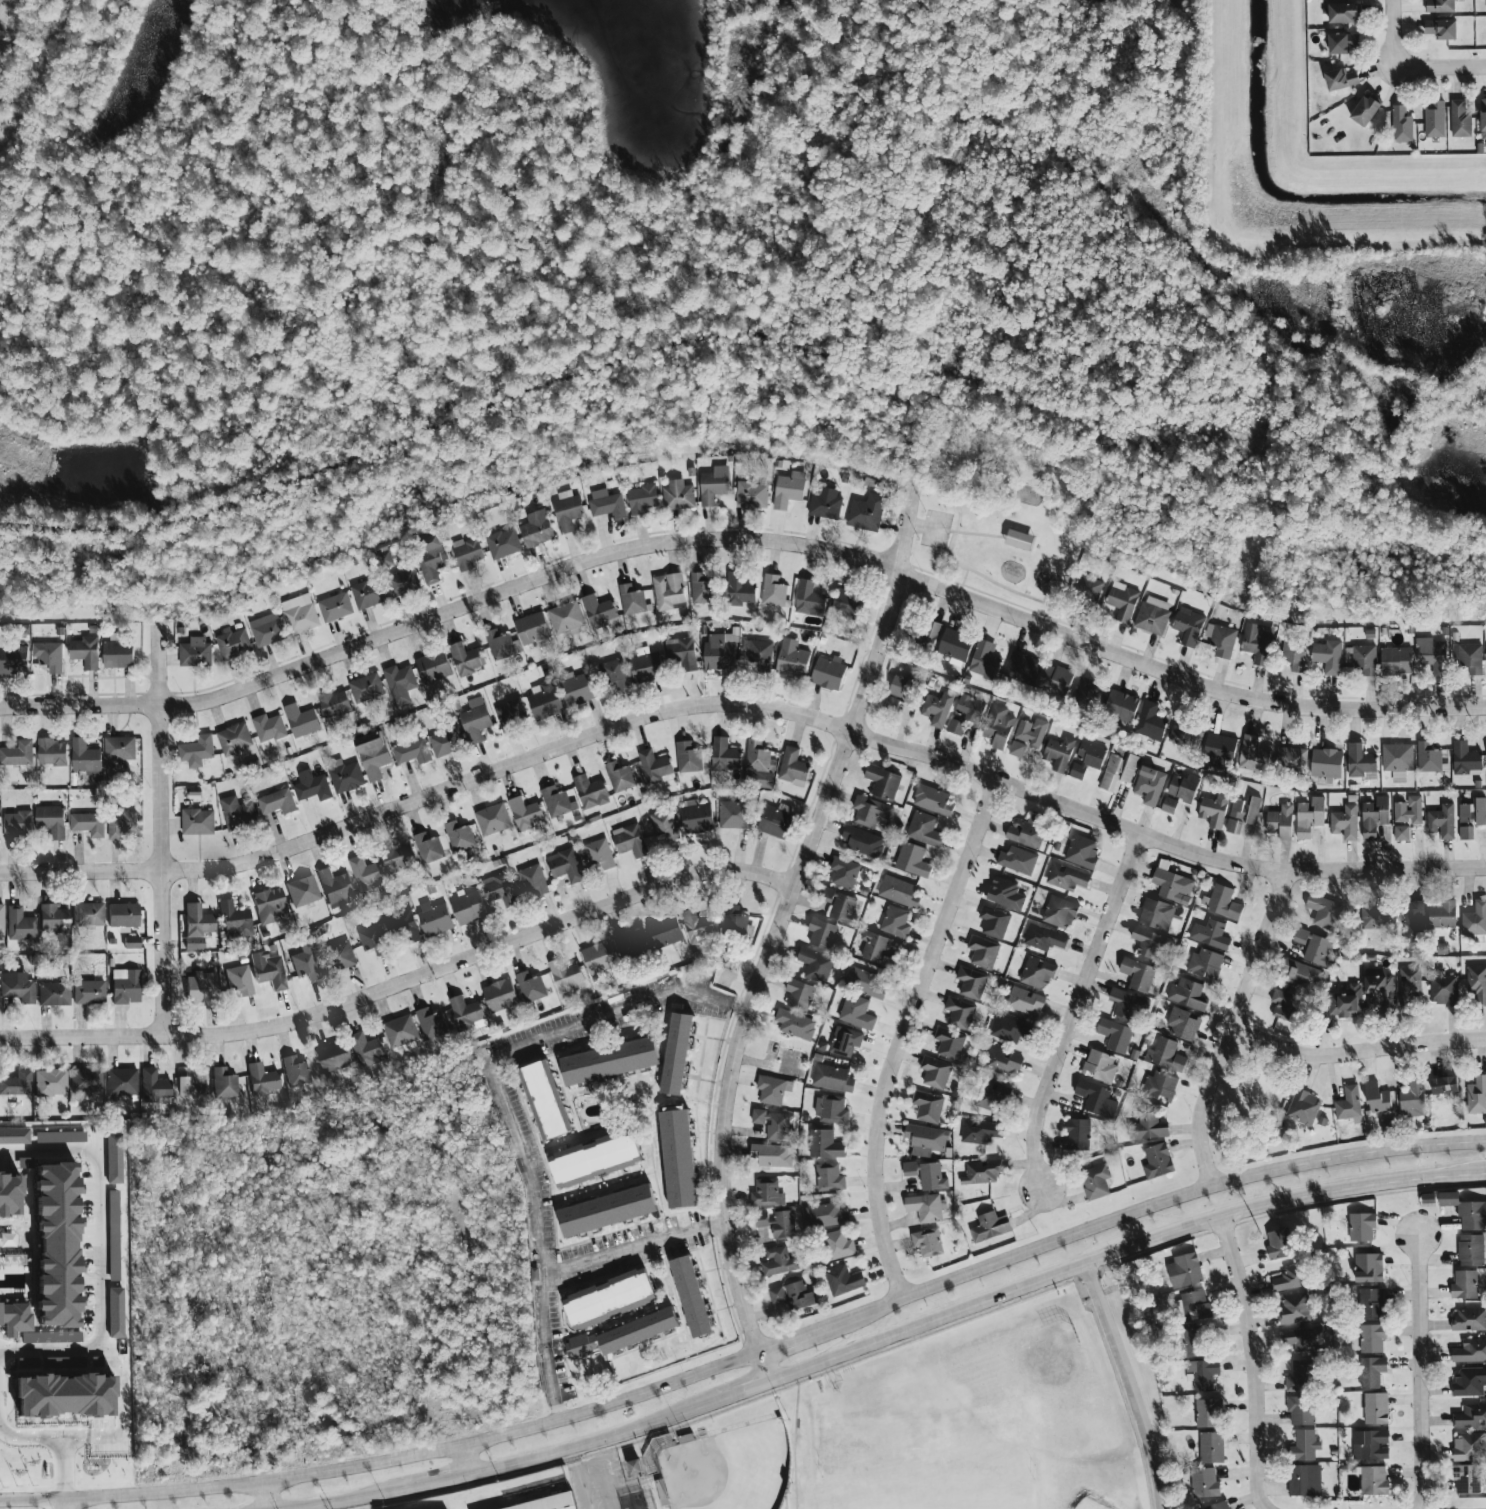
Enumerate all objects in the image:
building: (1441, 6)
building: (1343, 13)
building: (1442, 29)
road: (1393, 33)
building: (1343, 43)
road: (1440, 66)
building: (1341, 79)
building: (1365, 111)
building: (1483, 119)
building: (1434, 120)
building: (1460, 120)
building: (1402, 125)
building: (713, 485)
building: (789, 489)
building: (678, 495)
building: (752, 495)
building: (642, 499)
building: (606, 503)
building: (824, 506)
building: (567, 511)
building: (866, 513)
building: (536, 528)
road: (743, 539)
building: (1019, 539)
building: (503, 543)
building: (467, 553)
building: (430, 557)
building: (402, 582)
building: (1089, 588)
building: (701, 589)
building: (740, 589)
building: (773, 590)
building: (366, 594)
building: (809, 598)
building: (631, 600)
building: (846, 601)
building: (1123, 601)
building: (335, 607)
building: (599, 612)
building: (300, 614)
building: (1153, 615)
building: (567, 618)
building: (1189, 626)
building: (532, 628)
building: (266, 630)
building: (930, 632)
building: (1221, 639)
building: (232, 643)
building: (1258, 643)
building: (501, 644)
building: (956, 645)
building: (84, 649)
building: (195, 652)
building: (682, 653)
building: (118, 654)
building: (1294, 655)
building: (1433, 655)
building: (759, 656)
building: (1327, 656)
building: (51, 657)
building: (1469, 657)
building: (465, 659)
building: (13, 660)
building: (983, 660)
building: (1364, 660)
building: (792, 661)
building: (1396, 661)
building: (433, 666)
building: (646, 667)
building: (1022, 668)
building: (828, 673)
building: (614, 674)
building: (1055, 679)
building: (399, 684)
building: (902, 688)
building: (366, 689)
building: (578, 689)
building: (1084, 693)
building: (545, 701)
road: (742, 703)
building: (892, 703)
building: (334, 704)
building: (1123, 706)
road: (0, 708)
road: (0, 709)
building: (937, 709)
building: (970, 709)
building: (511, 715)
building: (475, 720)
building: (301, 721)
building: (1150, 722)
building: (956, 727)
building: (998, 727)
building: (268, 730)
building: (1184, 732)
building: (1027, 737)
building: (234, 742)
building: (444, 743)
building: (119, 748)
building: (1220, 750)
building: (196, 751)
building: (51, 752)
building: (412, 752)
building: (1059, 753)
building: (17, 754)
building: (373, 754)
building: (724, 755)
building: (756, 755)
building: (1253, 755)
building: (688, 757)
building: (1292, 757)
building: (85, 758)
building: (1428, 758)
building: (1465, 758)
building: (1088, 759)
building: (1360, 761)
building: (1398, 761)
building: (1327, 763)
building: (792, 765)
building: (652, 766)
building: (1118, 771)
building: (763, 776)
building: (620, 777)
building: (346, 778)
building: (883, 782)
building: (1150, 785)
building: (312, 787)
building: (1183, 787)
building: (590, 792)
building: (933, 800)
building: (277, 802)
building: (557, 802)
building: (1169, 805)
building: (1409, 810)
building: (870, 811)
building: (1213, 812)
building: (525, 813)
building: (1243, 813)
building: (237, 814)
building: (733, 815)
building: (1310, 817)
building: (1375, 817)
building: (1471, 817)
building: (492, 819)
building: (697, 819)
building: (51, 820)
building: (197, 822)
building: (775, 822)
building: (1281, 822)
building: (1345, 822)
building: (1442, 822)
building: (17, 824)
building: (88, 824)
building: (121, 825)
building: (664, 826)
building: (924, 829)
road: (158, 830)
building: (1025, 832)
building: (1401, 833)
building: (459, 836)
building: (630, 840)
building: (863, 842)
building: (428, 848)
building: (1082, 851)
building: (599, 854)
building: (397, 860)
building: (912, 860)
building: (1017, 860)
building: (565, 866)
building: (844, 872)
building: (365, 874)
building: (1066, 878)
building: (533, 880)
building: (1172, 884)
building: (335, 888)
building: (500, 890)
building: (301, 891)
building: (898, 892)
building: (1005, 894)
building: (1224, 903)
building: (839, 904)
building: (269, 905)
building: (468, 908)
building: (1324, 911)
building: (1059, 912)
building: (86, 914)
building: (1443, 914)
building: (120, 916)
building: (1159, 916)
building: (52, 917)
building: (1372, 917)
building: (1475, 917)
building: (1414, 918)
building: (434, 919)
building: (1, 920)
building: (234, 920)
building: (734, 920)
building: (895, 922)
building: (994, 922)
building: (19, 925)
road: (782, 925)
building: (195, 926)
building: (697, 926)
building: (402, 928)
building: (665, 932)
building: (822, 933)
building: (1211, 934)
building: (1043, 938)
building: (373, 940)
building: (130, 942)
building: (1147, 942)
building: (633, 945)
building: (873, 946)
building: (1314, 946)
building: (982, 952)
building: (340, 955)
building: (599, 957)
building: (304, 962)
building: (1205, 963)
building: (815, 965)
building: (267, 970)
building: (1037, 973)
building: (1138, 974)
building: (1303, 974)
building: (566, 976)
building: (238, 980)
road: (406, 982)
building: (866, 983)
building: (971, 983)
building: (1477, 983)
building: (1410, 985)
building: (124, 986)
building: (530, 987)
building: (18, 988)
building: (200, 988)
building: (1443, 988)
building: (1379, 990)
building: (88, 992)
building: (53, 994)
building: (799, 994)
building: (1187, 994)
building: (500, 995)
building: (1025, 1002)
building: (1123, 1003)
building: (1346, 1003)
building: (1284, 1004)
road: (1079, 1006)
building: (856, 1012)
building: (959, 1013)
building: (467, 1014)
building: (431, 1024)
building: (795, 1024)
building: (1183, 1024)
road: (1232, 1024)
building: (1007, 1030)
building: (401, 1033)
building: (1115, 1035)
road: (908, 1036)
building: (845, 1042)
building: (949, 1043)
building: (366, 1050)
road: (1357, 1050)
building: (676, 1053)
building: (1166, 1055)
building: (333, 1057)
building: (609, 1061)
building: (1003, 1061)
building: (1100, 1065)
building: (295, 1071)
building: (935, 1072)
building: (832, 1078)
building: (85, 1081)
building: (50, 1082)
building: (120, 1082)
building: (260, 1082)
building: (223, 1083)
building: (16, 1084)
building: (1445, 1085)
building: (152, 1086)
building: (182, 1086)
building: (1160, 1086)
building: (773, 1090)
building: (985, 1095)
building: (1477, 1095)
building: (124, 1098)
building: (1377, 1098)
building: (1096, 1099)
building: (1414, 1099)
building: (542, 1100)
road: (504, 1105)
building: (1349, 1105)
building: (928, 1106)
building: (1303, 1108)
building: (831, 1110)
building: (773, 1124)
building: (1148, 1127)
building: (981, 1132)
building: (14, 1136)
building: (1077, 1136)
building: (926, 1140)
building: (824, 1145)
building: (772, 1155)
building: (593, 1157)
building: (678, 1158)
building: (112, 1159)
building: (1157, 1161)
building: (982, 1173)
building: (927, 1175)
building: (829, 1178)
building: (1095, 1182)
building: (8, 1194)
building: (766, 1194)
building: (1428, 1198)
building: (925, 1208)
building: (607, 1210)
building: (1466, 1211)
building: (826, 1215)
building: (777, 1223)
building: (990, 1227)
building: (1362, 1227)
building: (928, 1242)
building: (55, 1244)
building: (839, 1245)
building: (1280, 1246)
road: (635, 1250)
building: (1471, 1250)
road: (1123, 1253)
road: (99, 1256)
building: (778, 1262)
building: (1369, 1268)
building: (1185, 1271)
building: (1288, 1279)
building: (843, 1281)
building: (1465, 1285)
building: (777, 1295)
building: (800, 1296)
building: (608, 1297)
building: (691, 1297)
building: (1371, 1303)
building: (1196, 1306)
building: (1293, 1309)
building: (114, 1313)
building: (14, 1319)
building: (1469, 1319)
building: (638, 1331)
road: (1255, 1337)
building: (1372, 1338)
building: (1304, 1339)
building: (1196, 1342)
building: (580, 1347)
building: (1470, 1352)
road: (752, 1360)
building: (1372, 1372)
road: (1426, 1372)
building: (1203, 1374)
building: (1301, 1377)
building: (1470, 1382)
road: (1127, 1387)
park: (1035, 1390)
building: (62, 1396)
road: (729, 1397)
building: (1376, 1408)
building: (1301, 1410)
building: (1208, 1414)
building: (1471, 1417)
road: (120, 1426)
road: (577, 1444)
building: (1370, 1445)
building: (1304, 1446)
building: (1470, 1447)
building: (1212, 1448)
road: (53, 1450)
road: (464, 1461)
park: (922, 1464)
building: (635, 1467)
park: (728, 1469)
road: (584, 1477)
building: (1468, 1479)
building: (1305, 1481)
building: (1374, 1481)
road: (431, 1484)
building: (1205, 1484)
road: (1262, 1486)
road: (267, 1498)
road: (347, 1500)
building: (549, 1503)
stadium: (782, 1503)
road: (63, 1506)
building: (1218, 1506)

